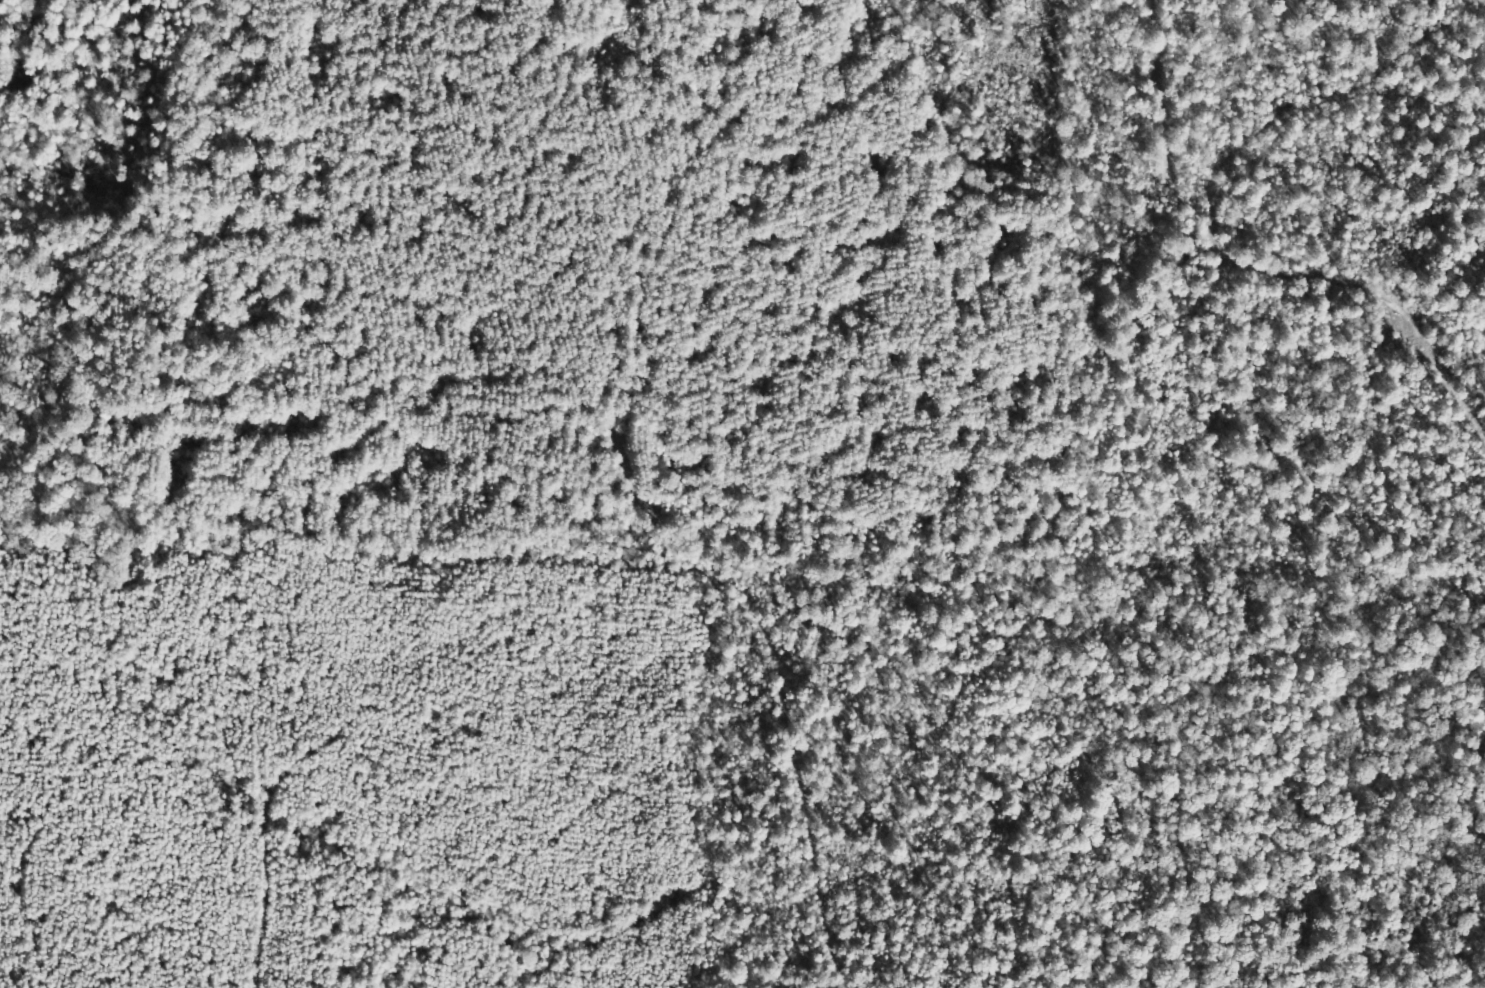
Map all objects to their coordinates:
road: (1348, 439)

